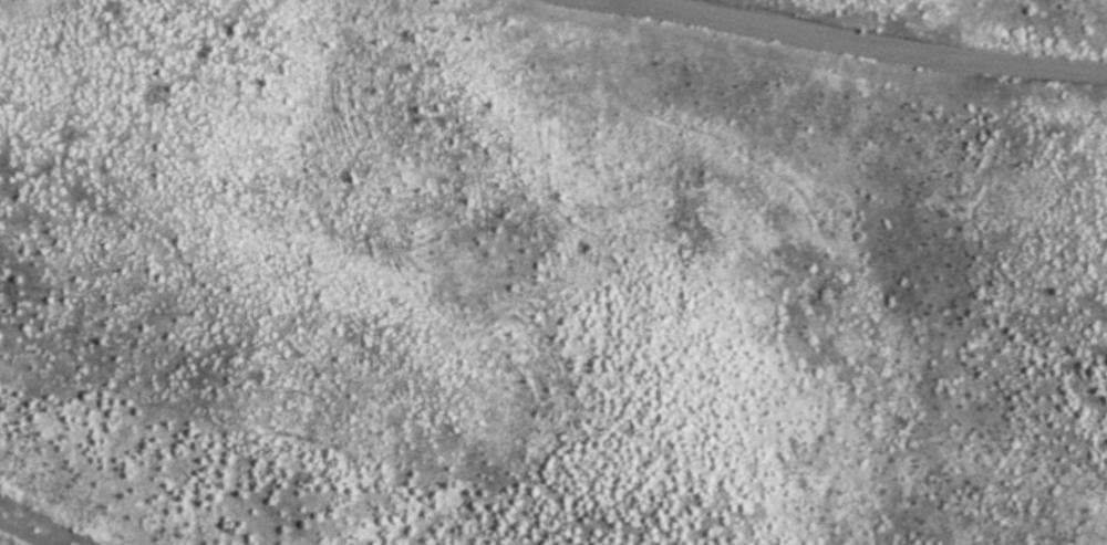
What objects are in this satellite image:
road: (869, 46)
road: (32, 530)

